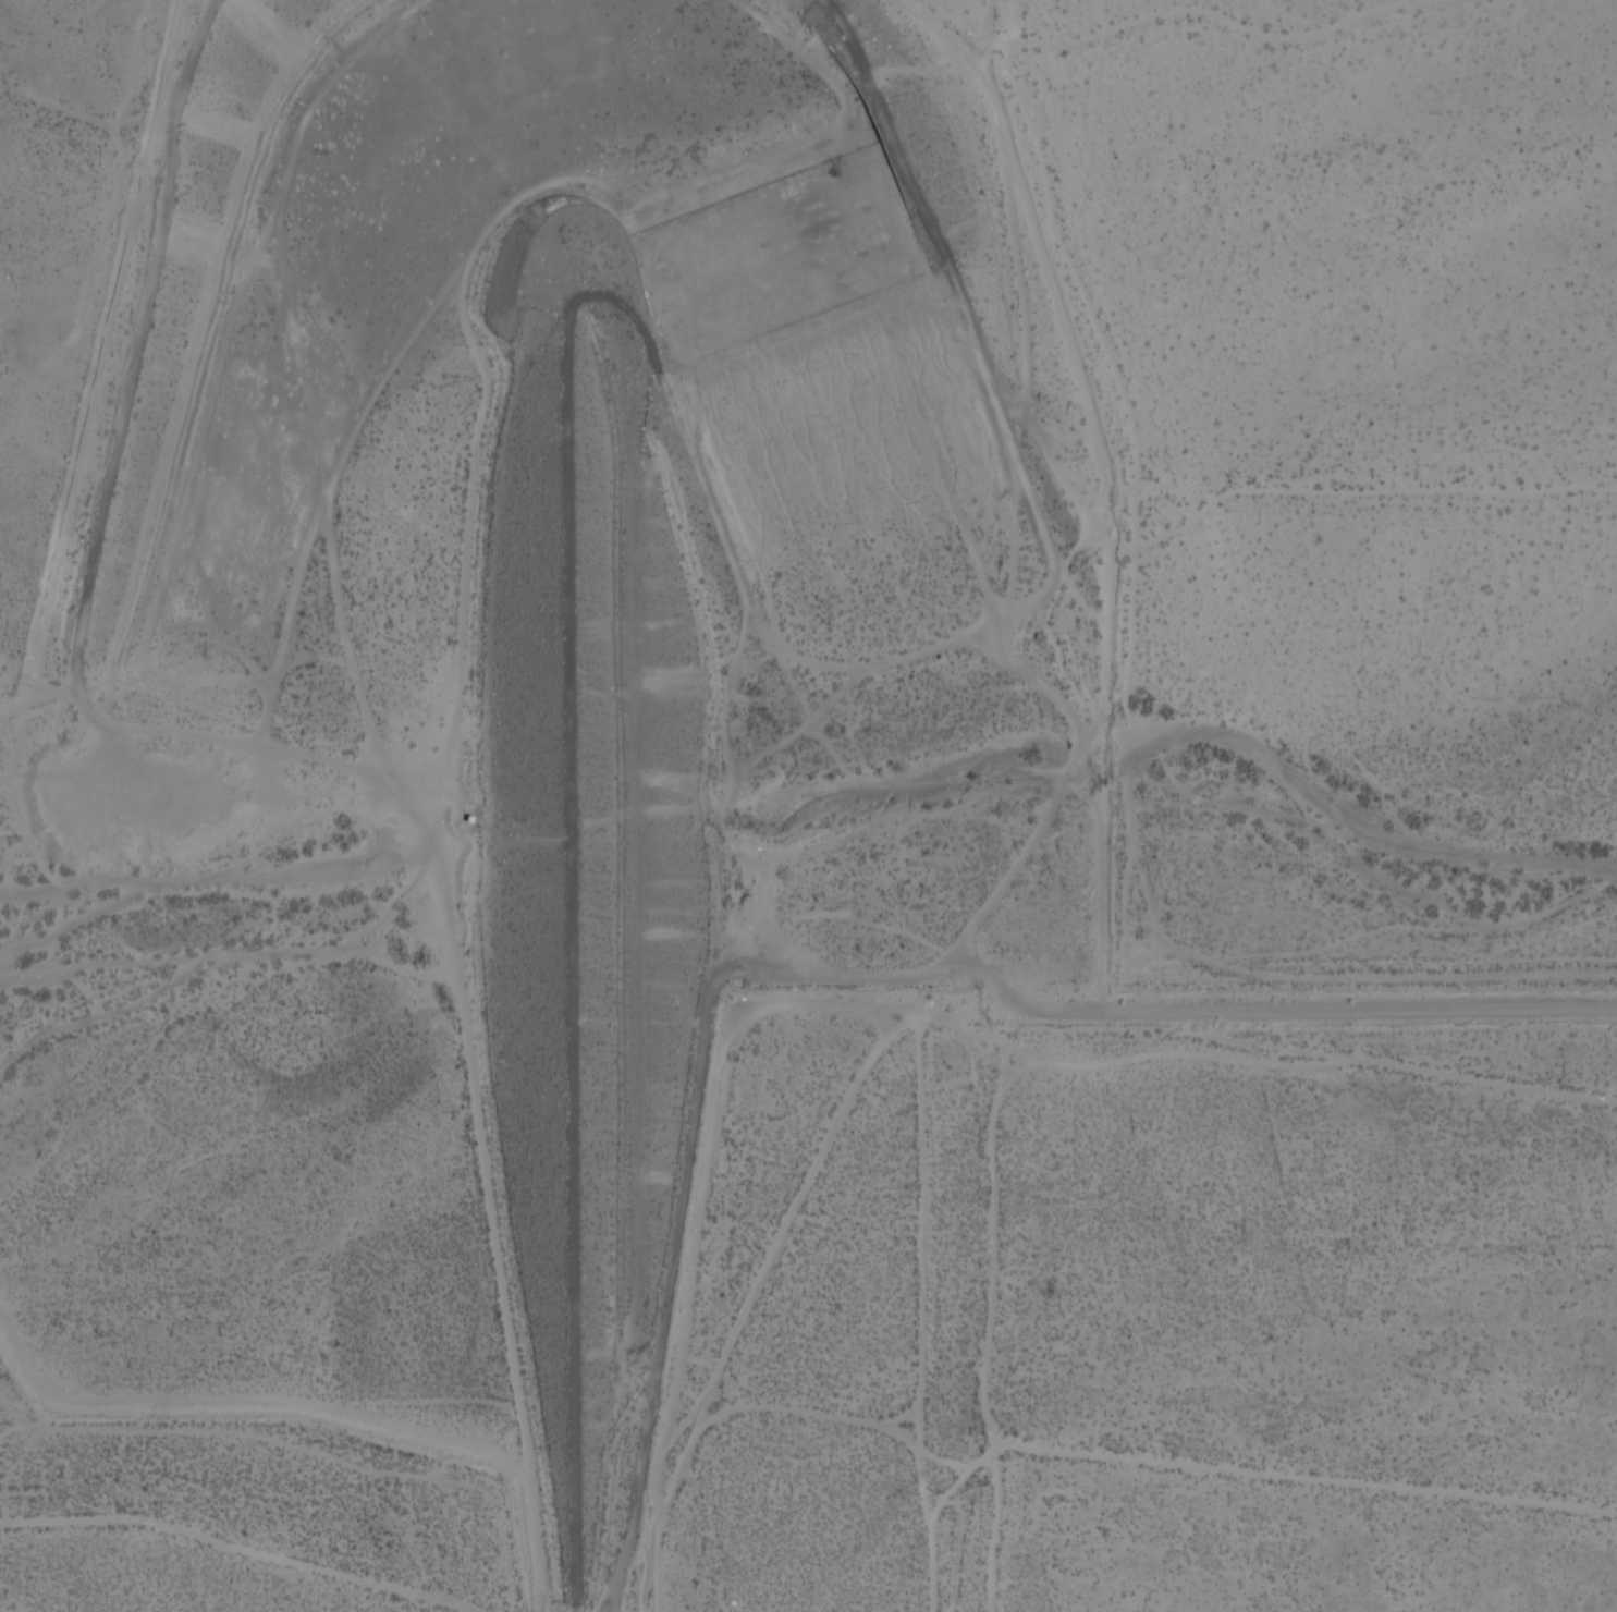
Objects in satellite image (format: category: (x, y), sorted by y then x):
dam: (569, 952)

